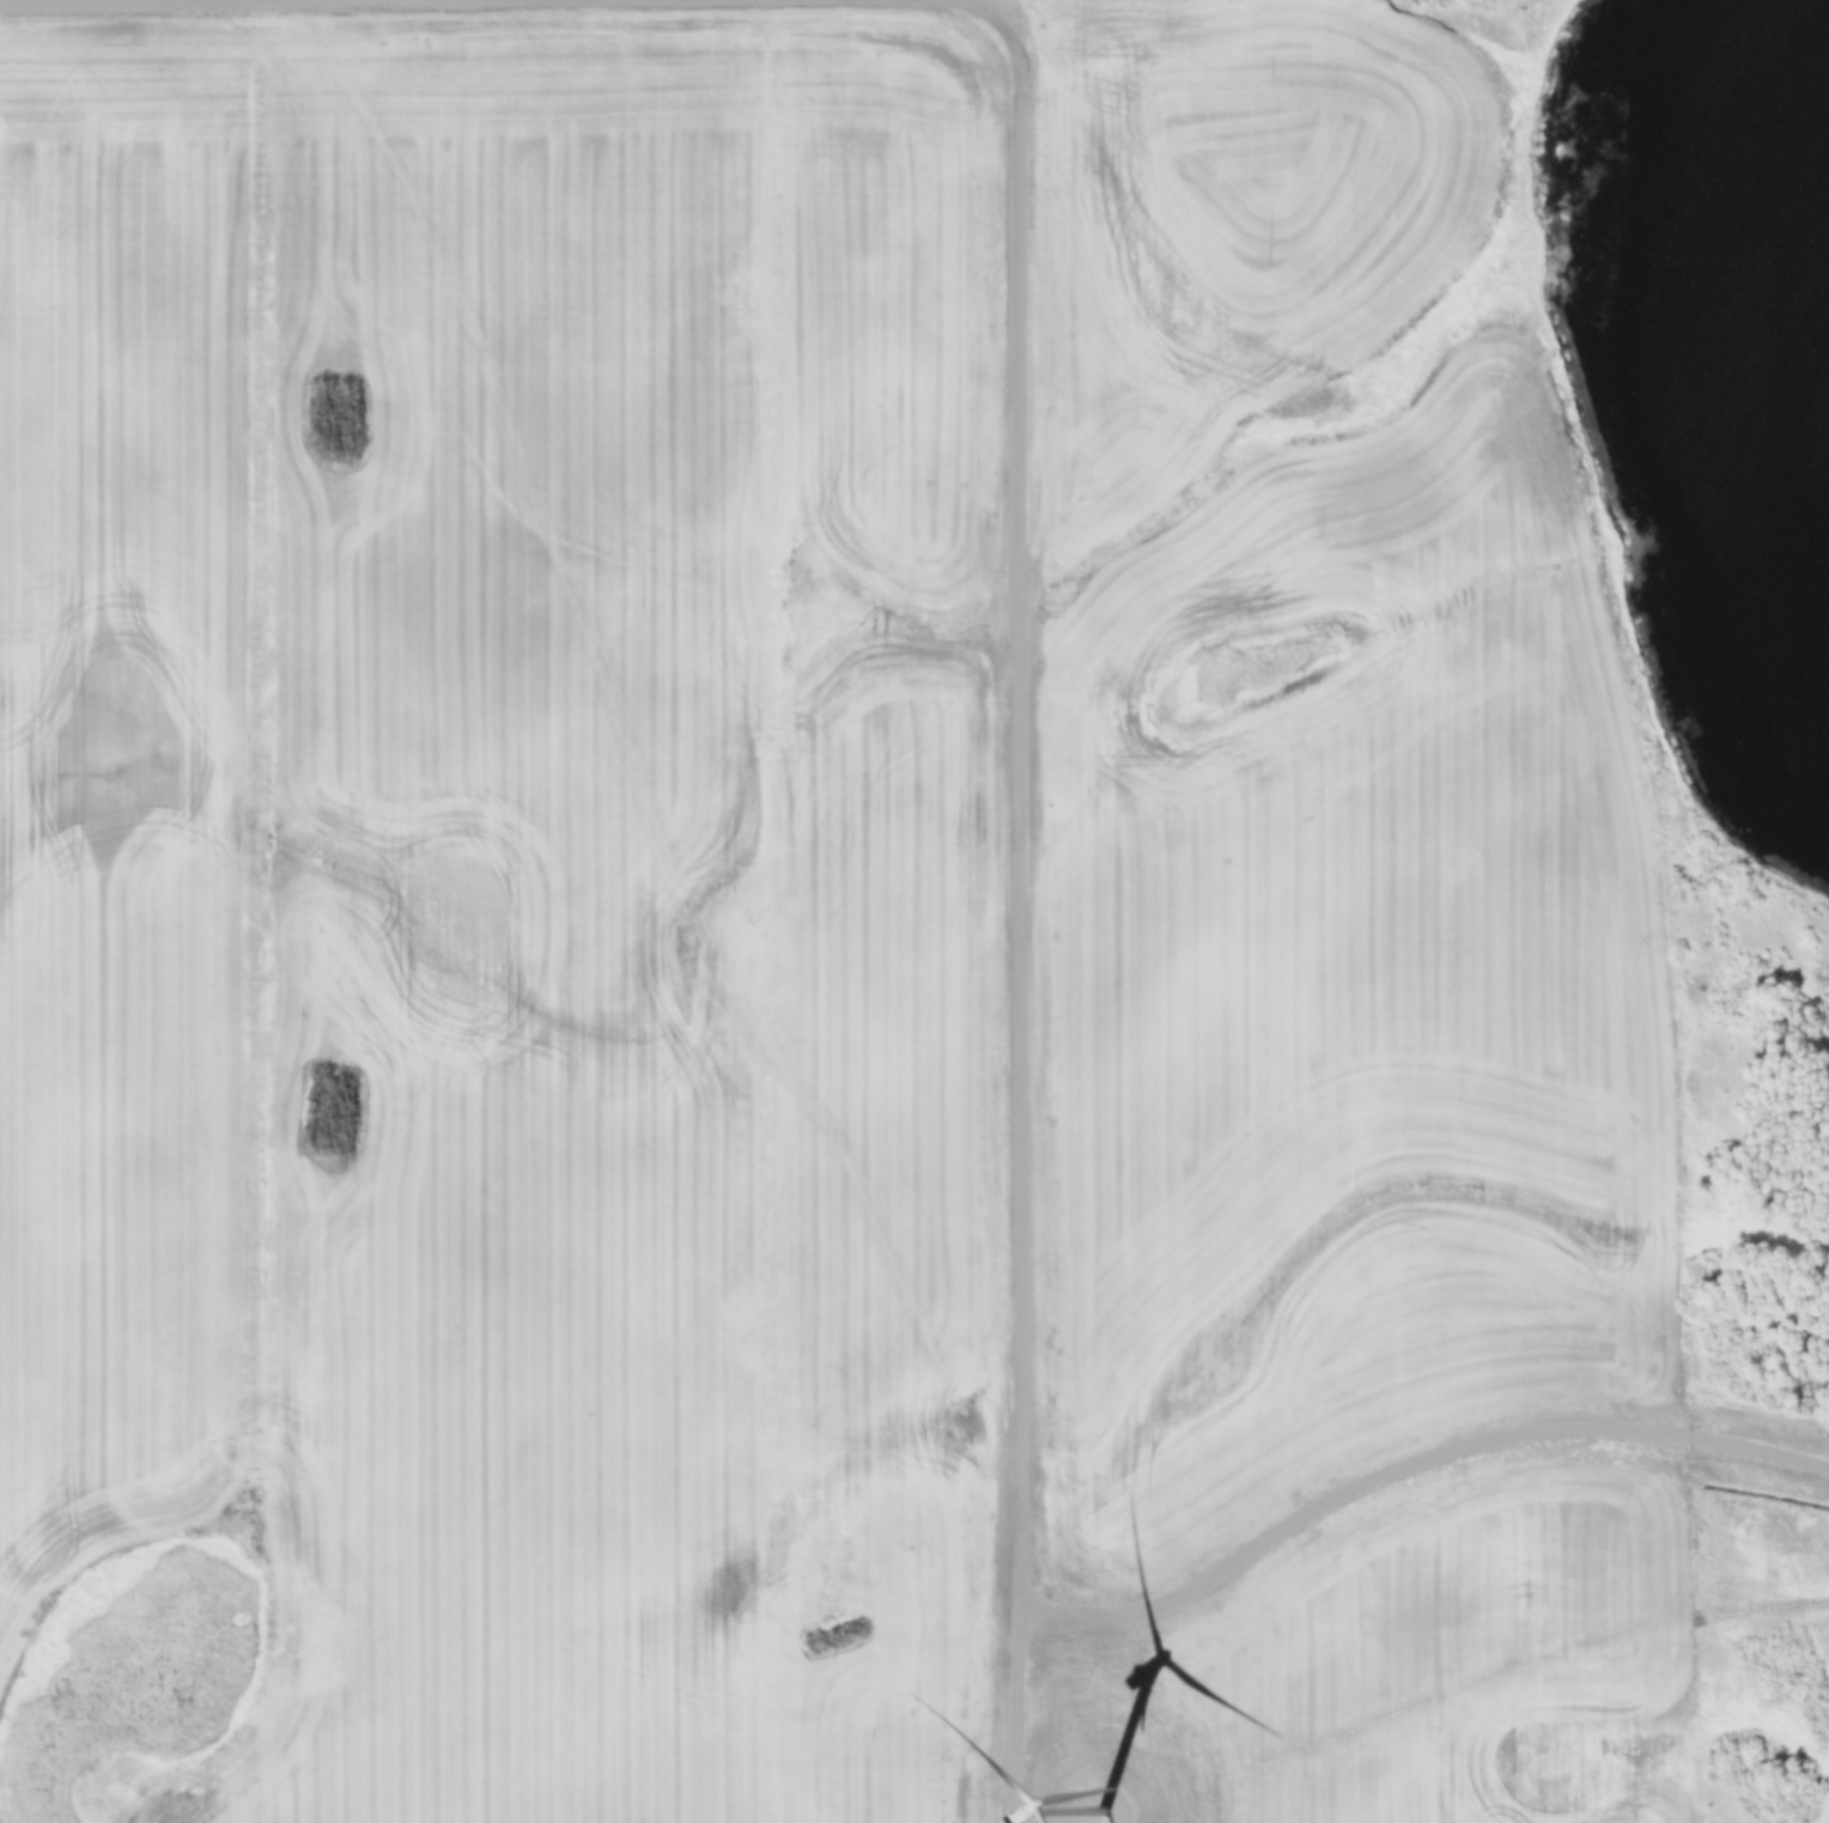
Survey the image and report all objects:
road: (178, 8)
road: (1002, 749)
wind turbine: (1094, 1822)

